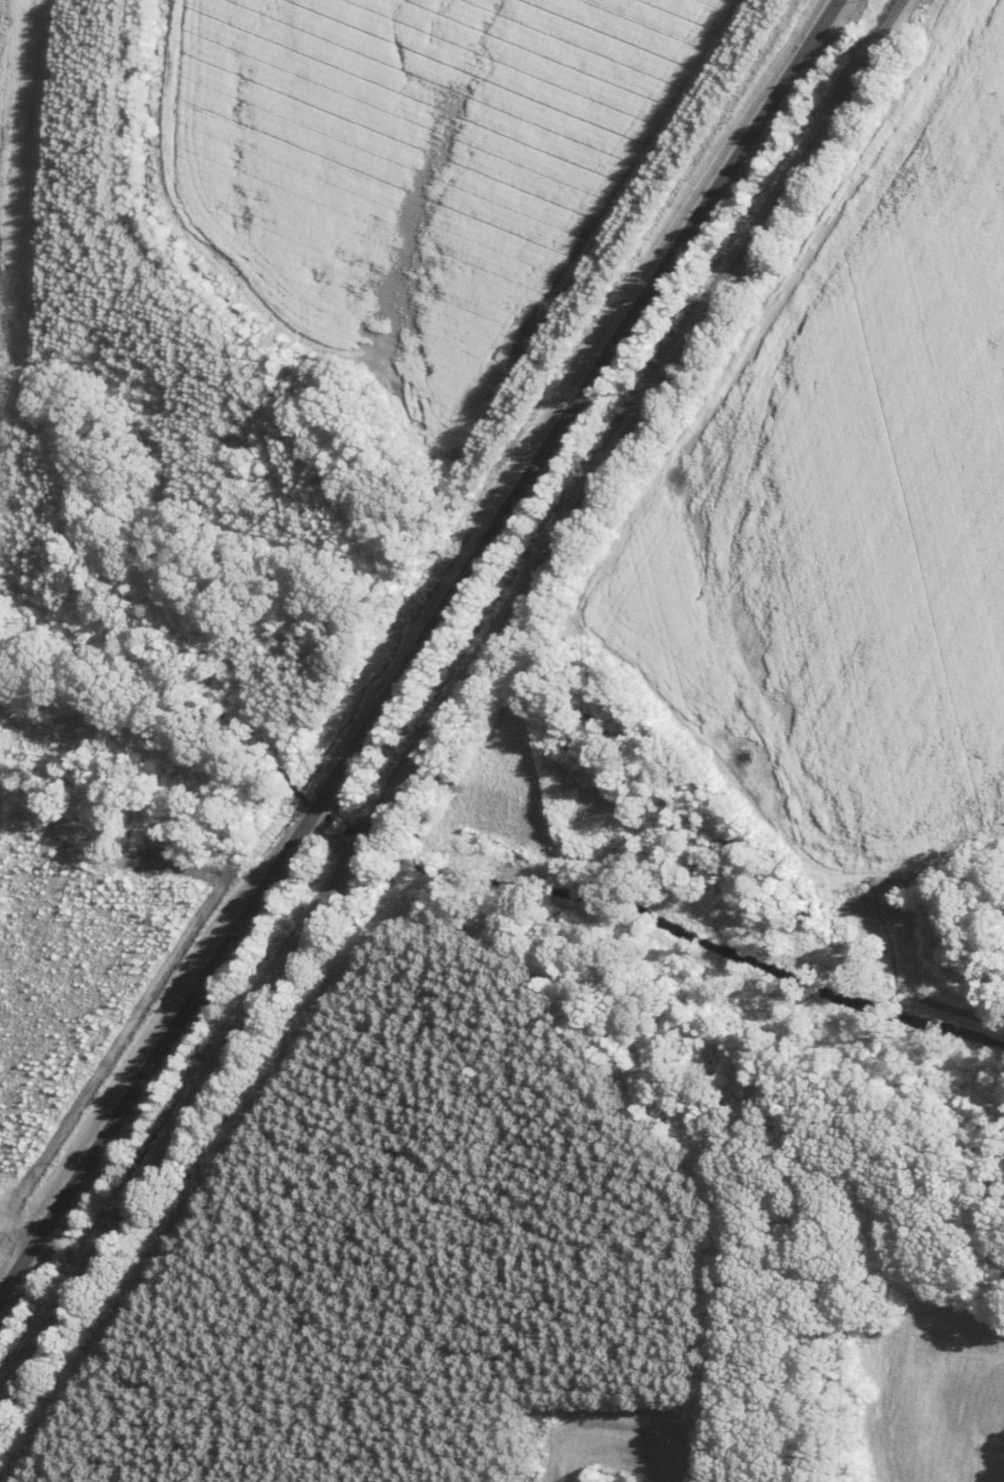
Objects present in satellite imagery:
road: (417, 650)
railway: (457, 706)

